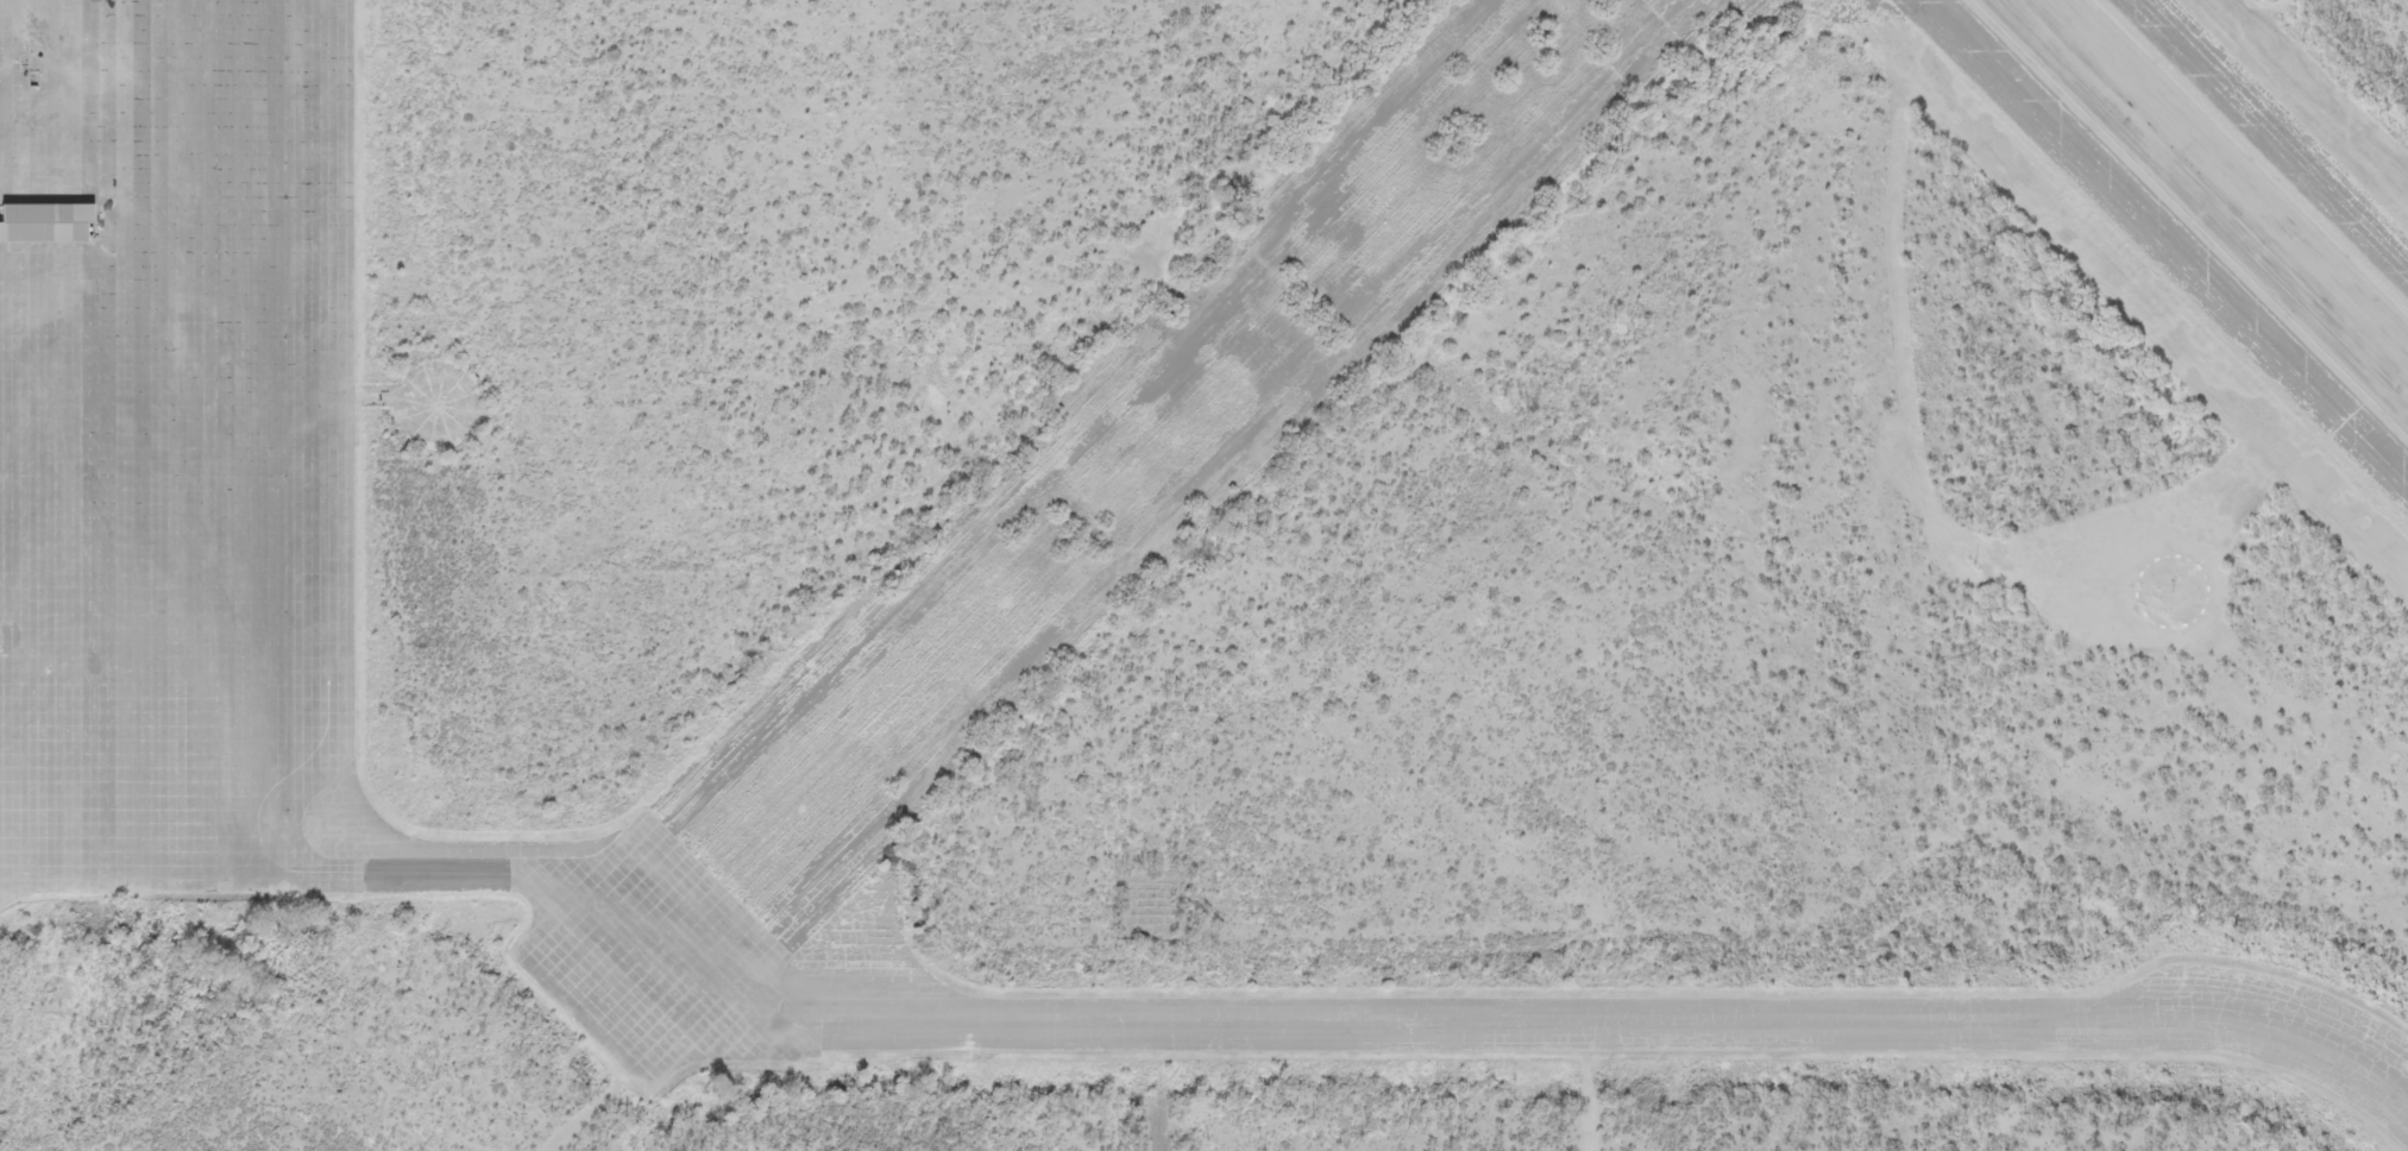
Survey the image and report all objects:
airport runway: (2219, 189)
building: (43, 224)
airport apron: (177, 444)
airport: (1203, 575)
airport taxiway: (1378, 1036)

